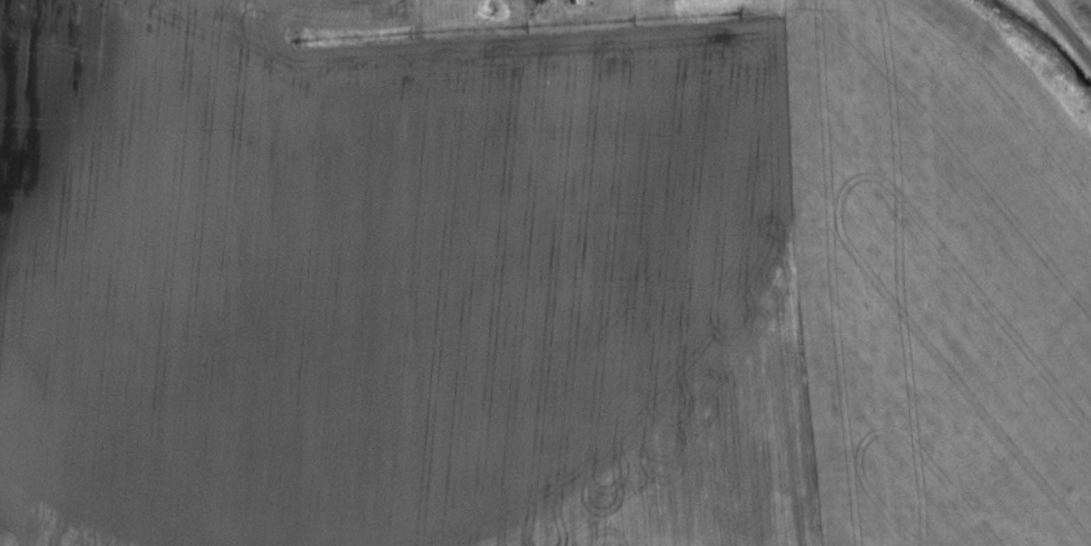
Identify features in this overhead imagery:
building: (630, 0)
road: (1062, 32)

